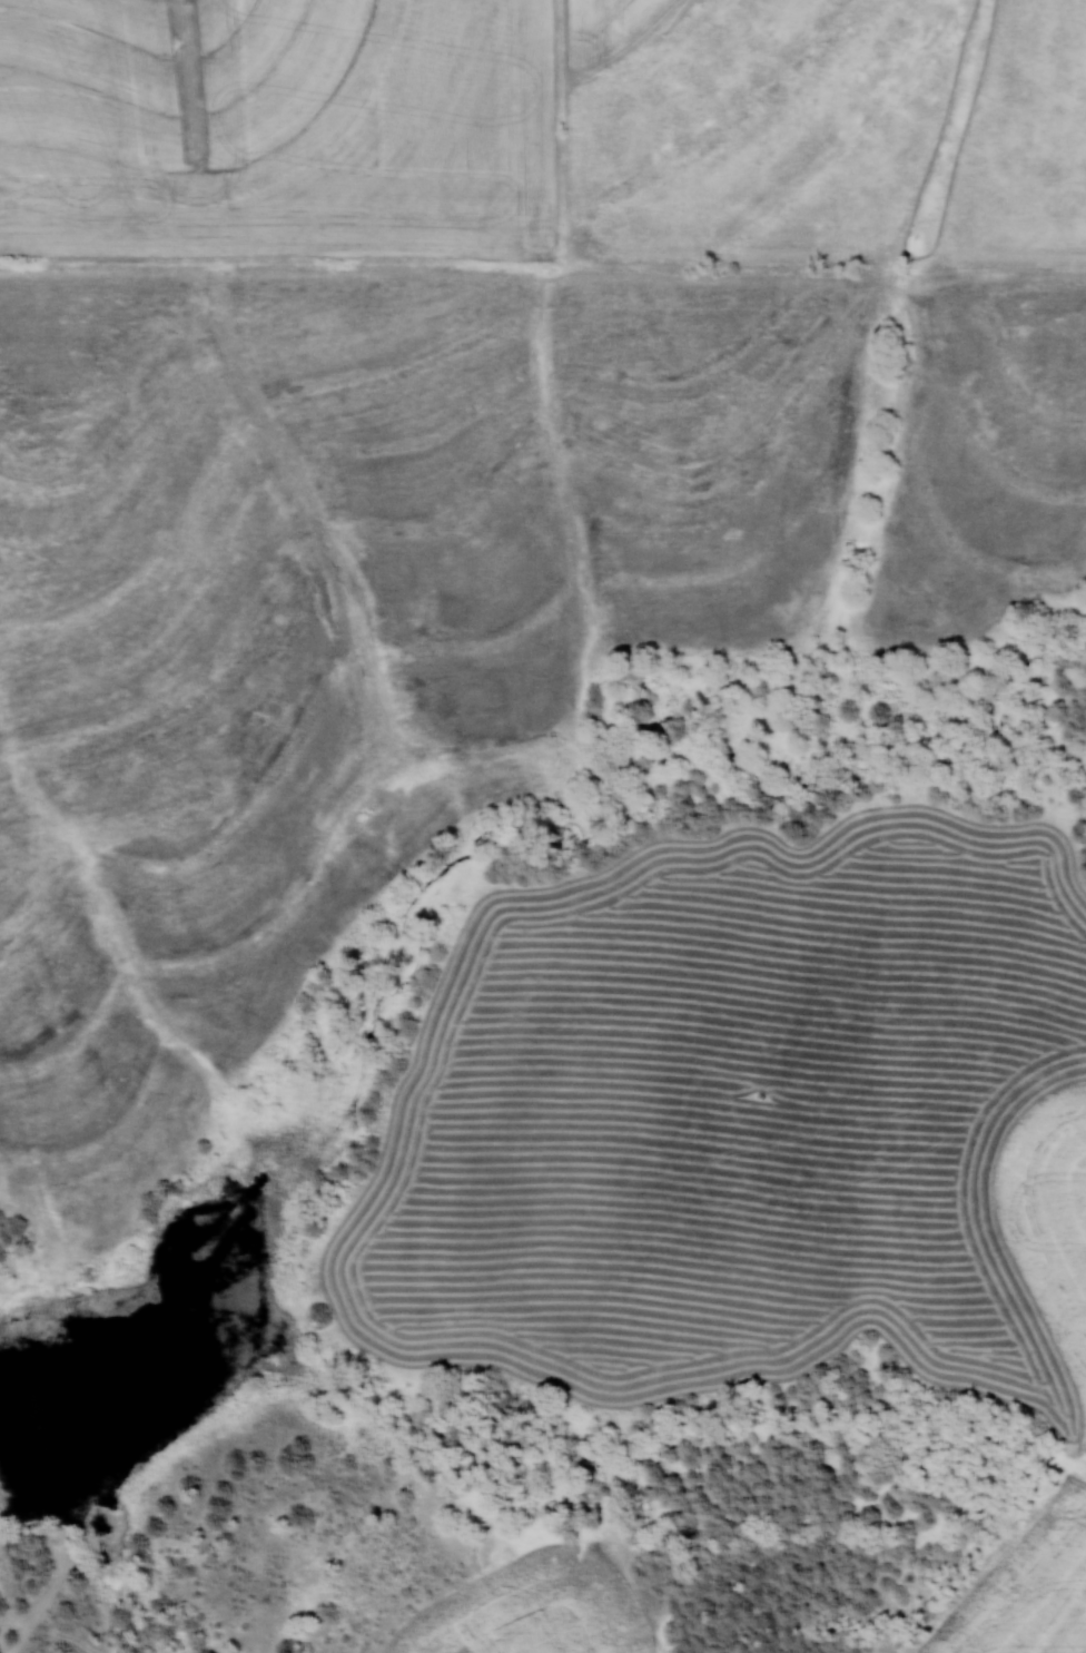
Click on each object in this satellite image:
dam: (1, 1509)

